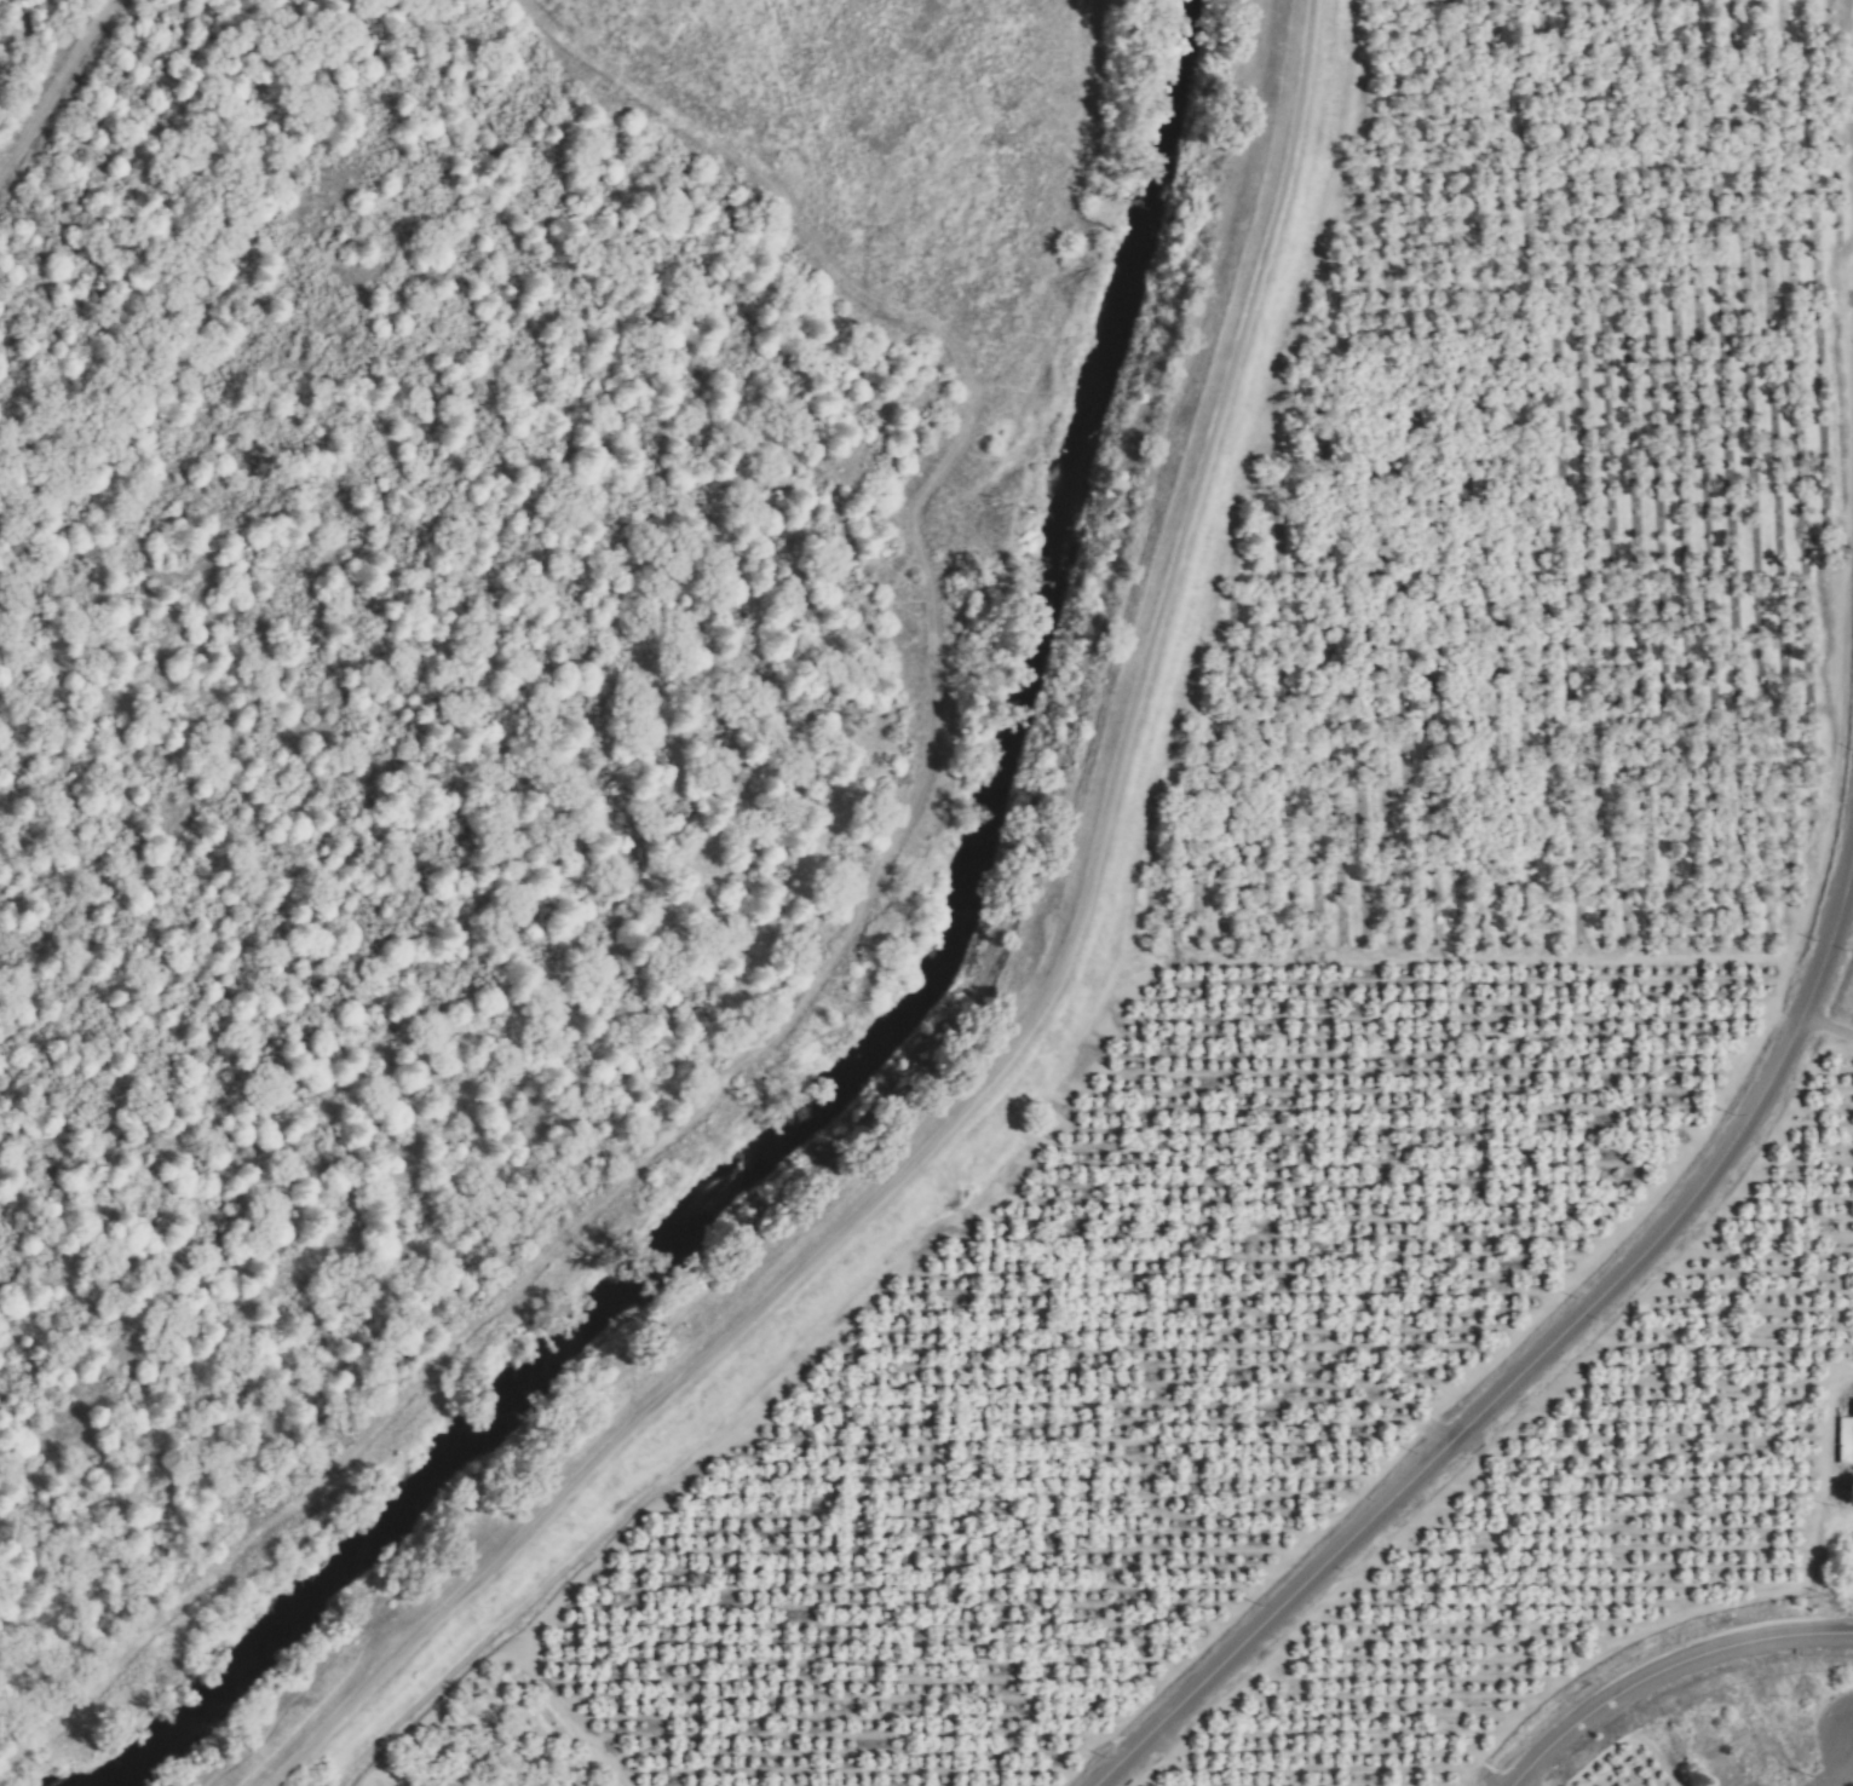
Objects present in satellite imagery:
road: (57, 91)
road: (1022, 1026)
river: (900, 1030)
road: (1532, 1362)
building: (1845, 1438)
road: (1667, 1671)
road: (1841, 1776)

